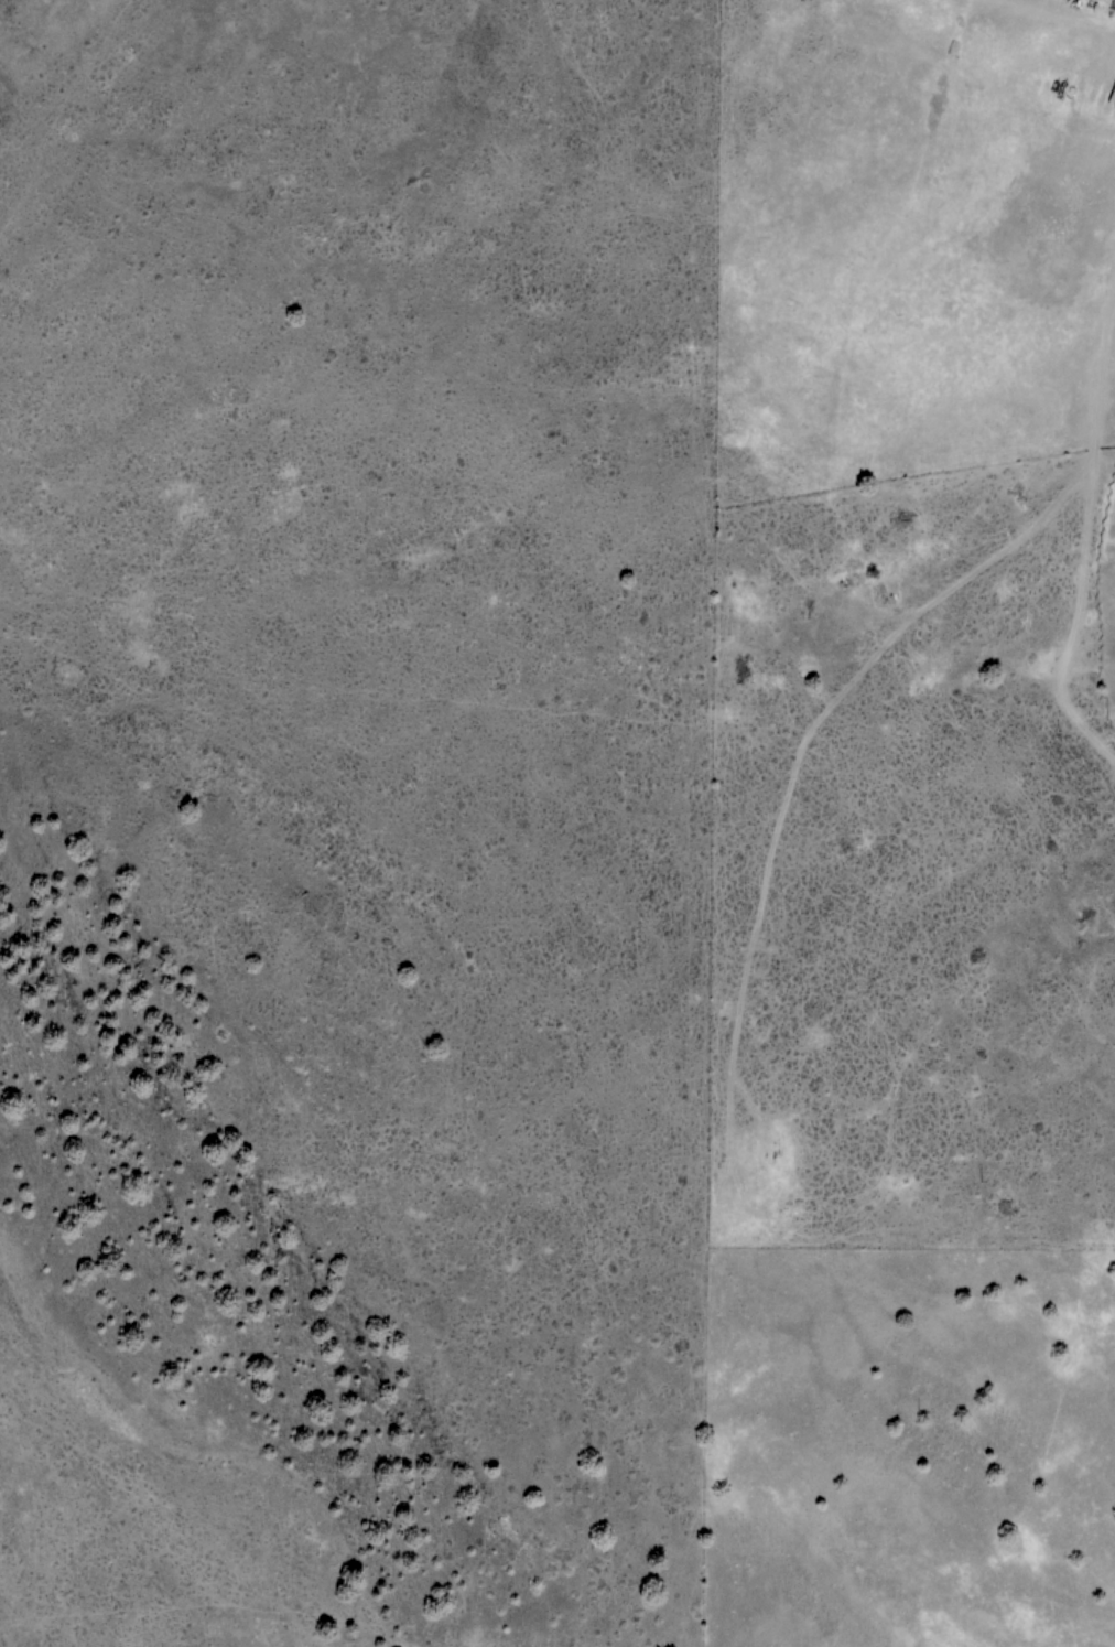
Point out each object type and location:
road: (1074, 4)
road: (1098, 383)
road: (1069, 627)
road: (879, 645)

